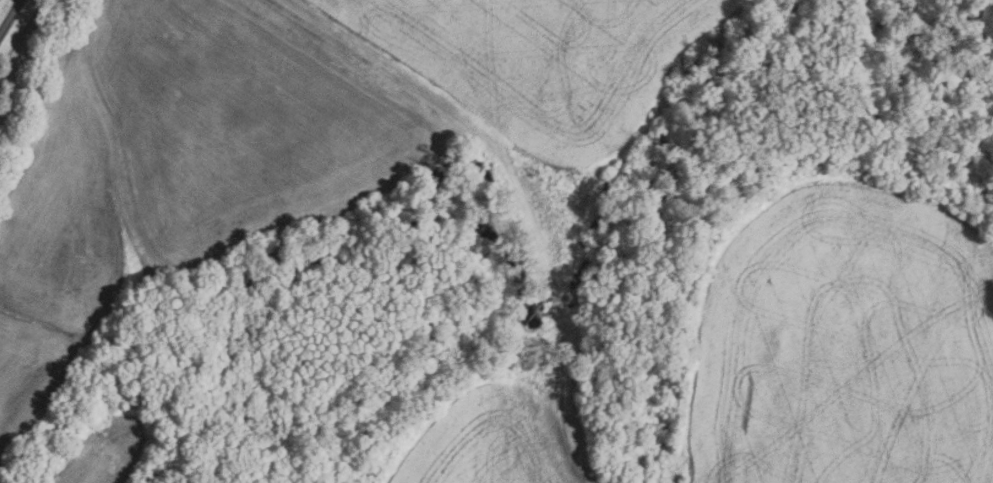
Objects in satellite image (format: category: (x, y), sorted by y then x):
road: (11, 19)
road: (518, 182)

